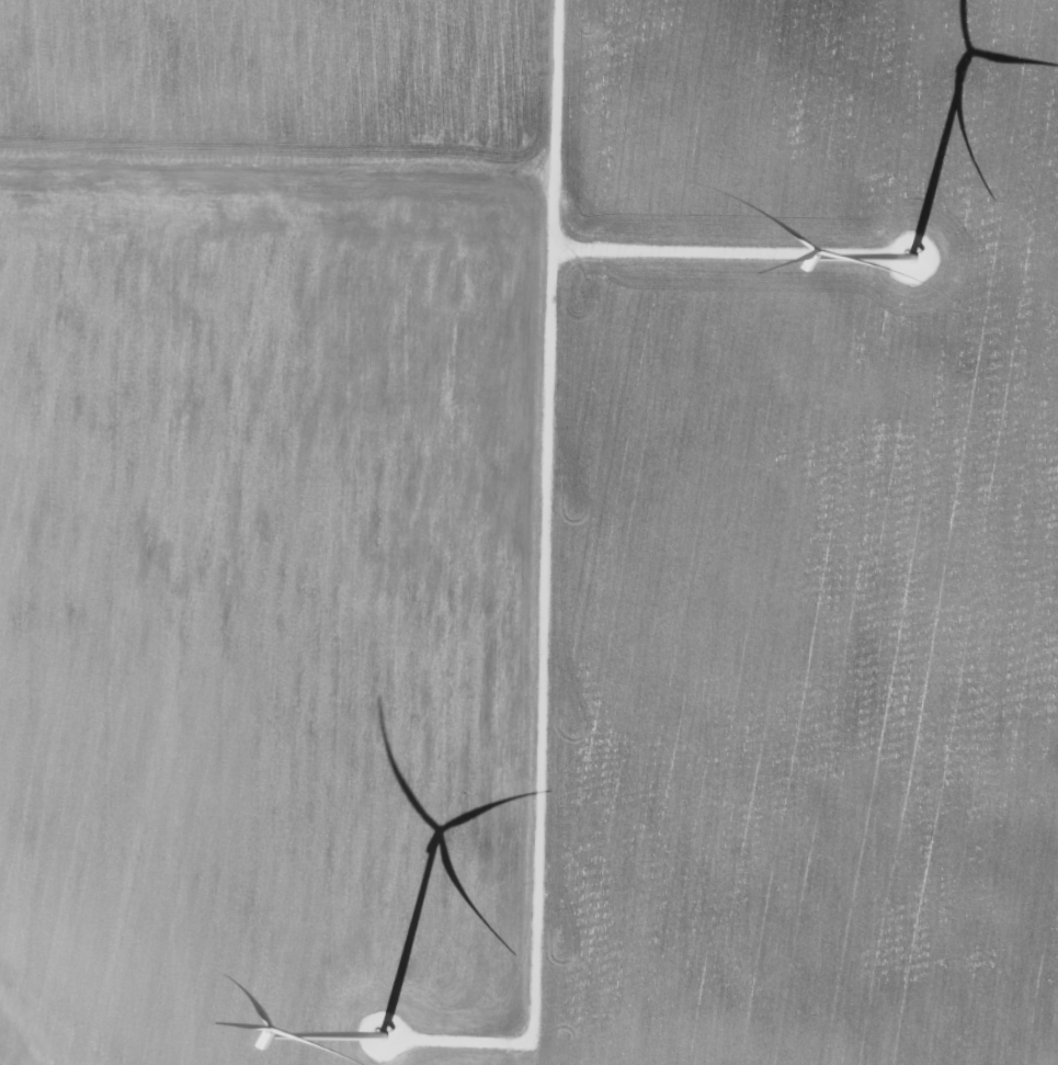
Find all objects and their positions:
wind turbine: (913, 247)
wind turbine: (380, 1042)

